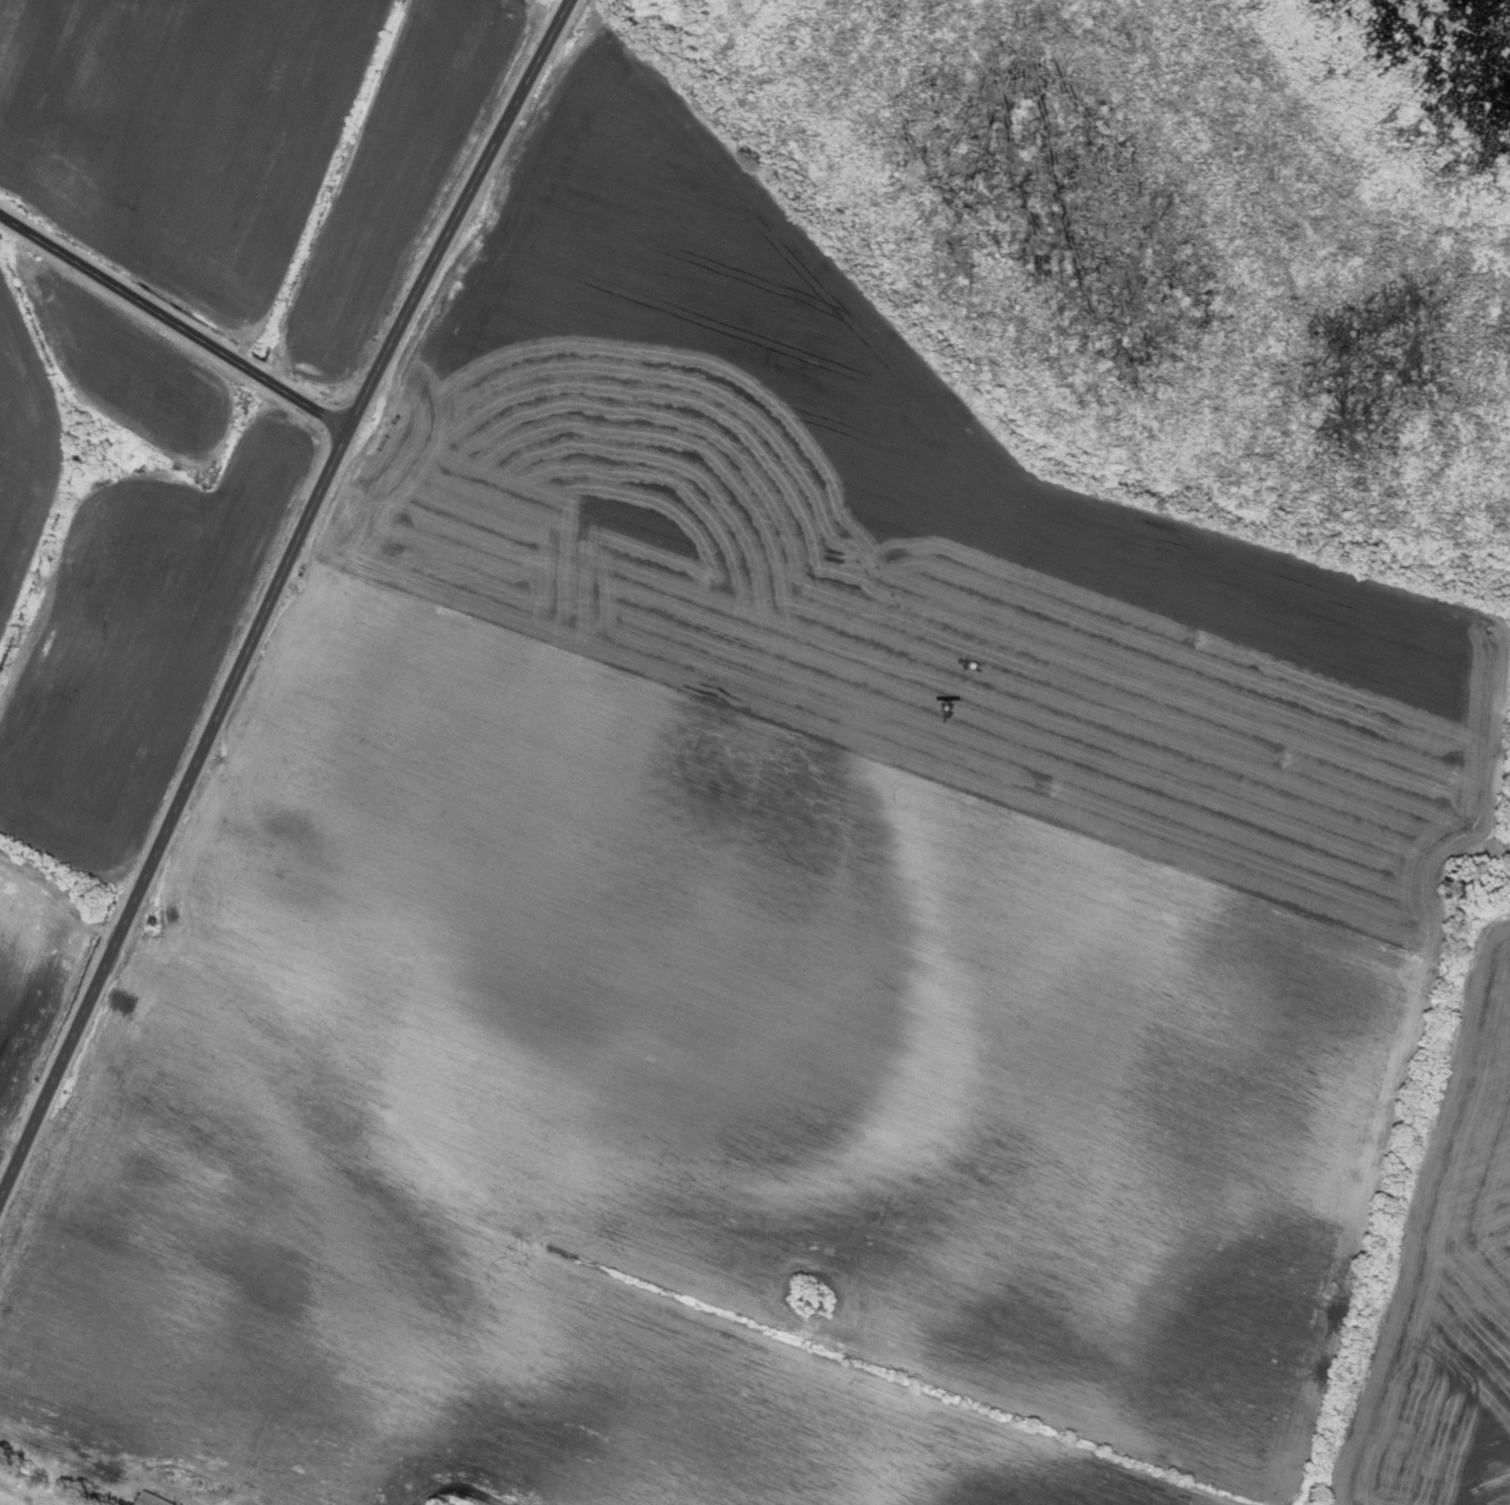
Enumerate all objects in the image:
road: (174, 325)
road: (275, 597)
building: (146, 1500)

